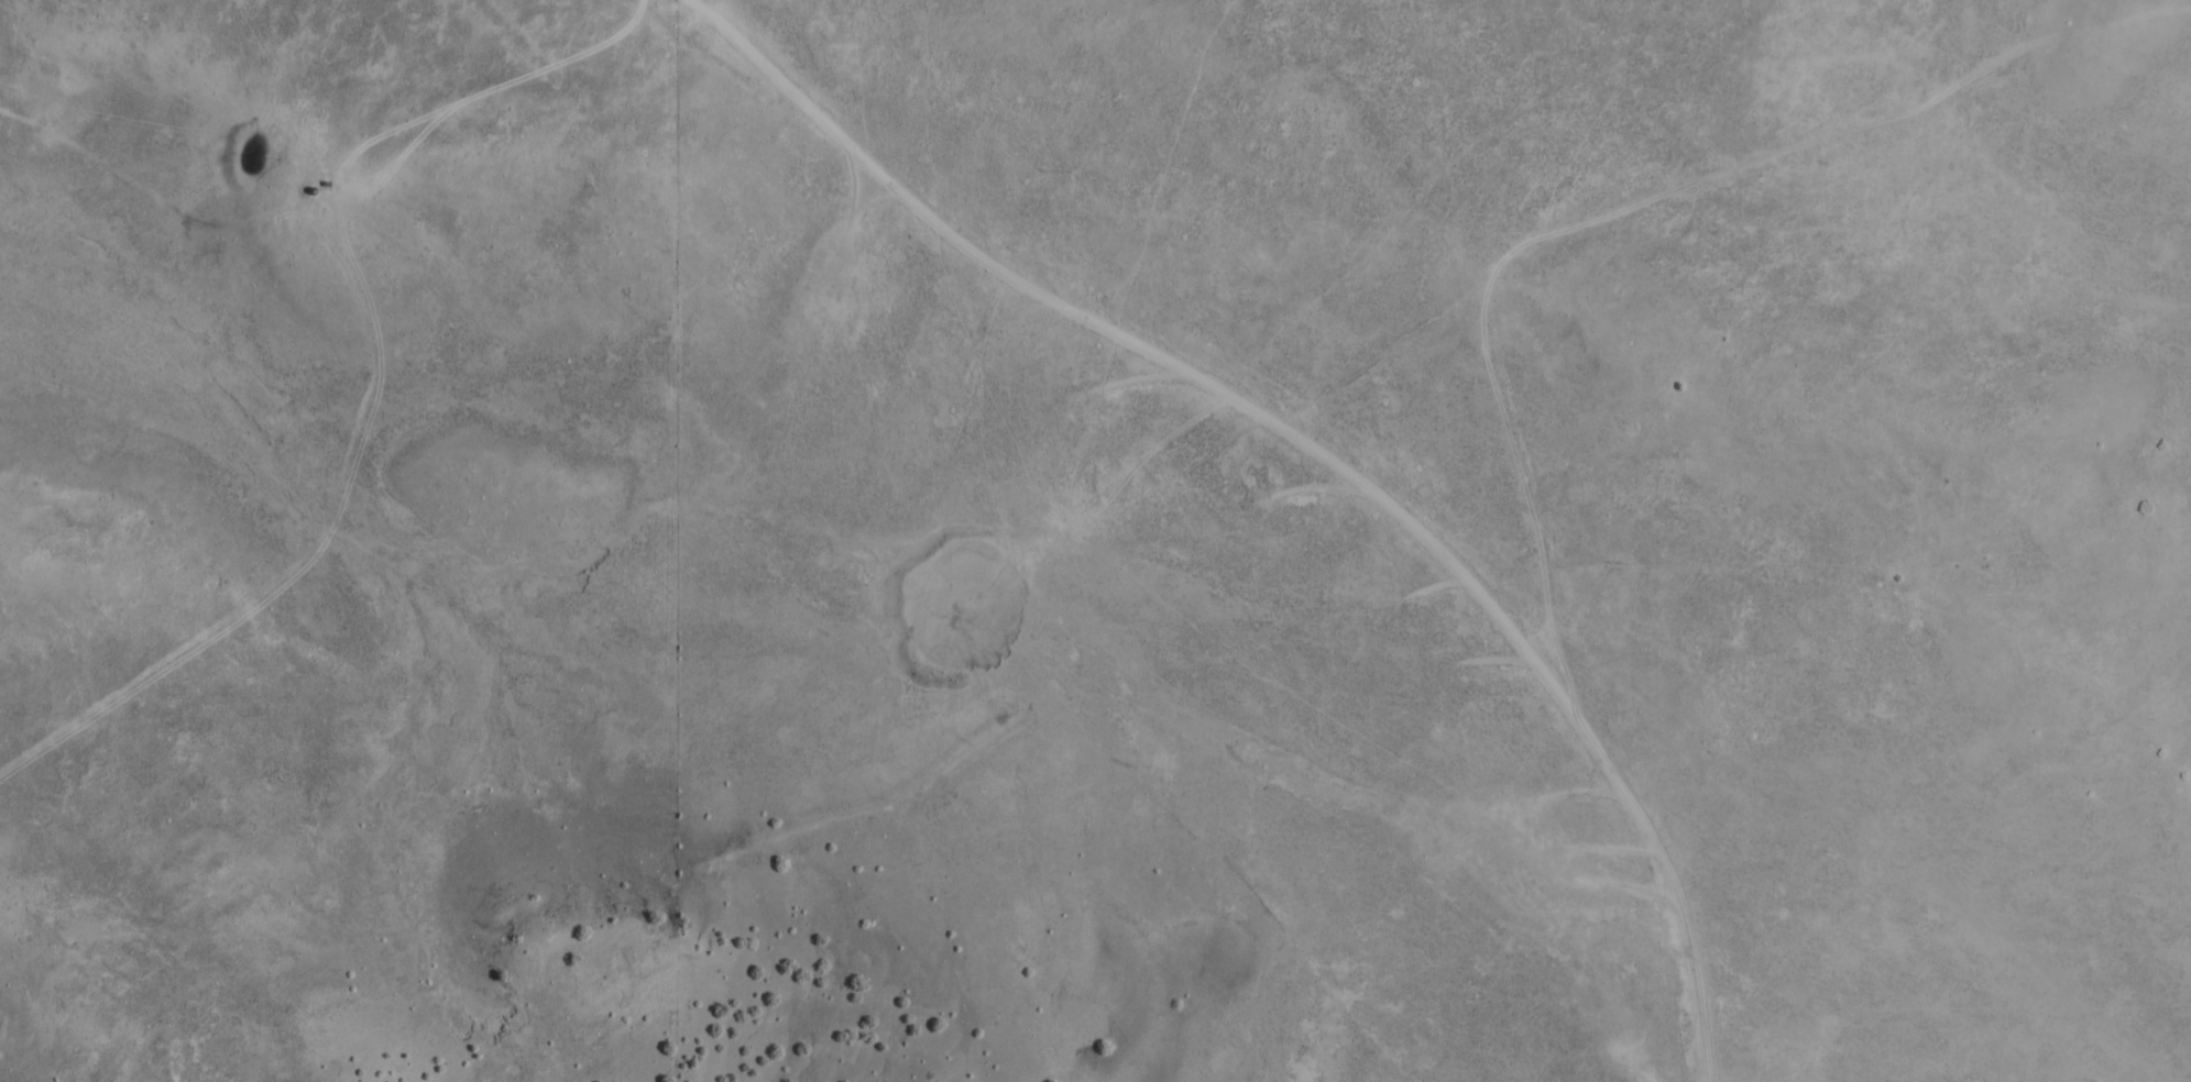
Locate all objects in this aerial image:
road: (1641, 206)
road: (1246, 500)

